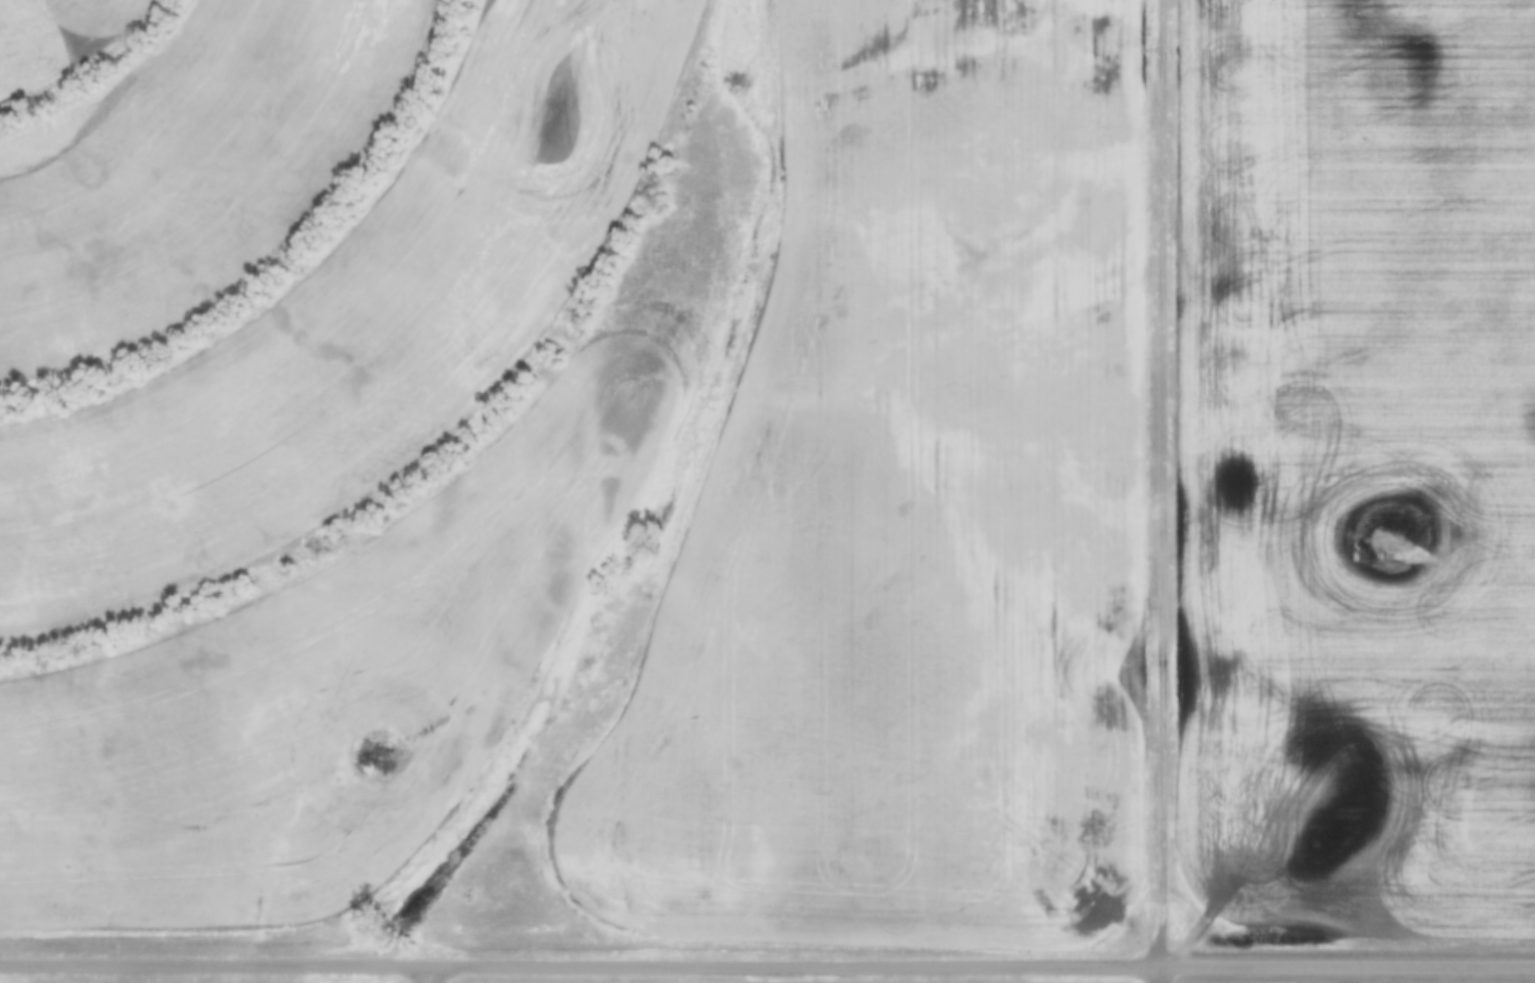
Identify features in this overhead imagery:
road: (1166, 480)
road: (767, 959)
road: (432, 970)
road: (1162, 972)

